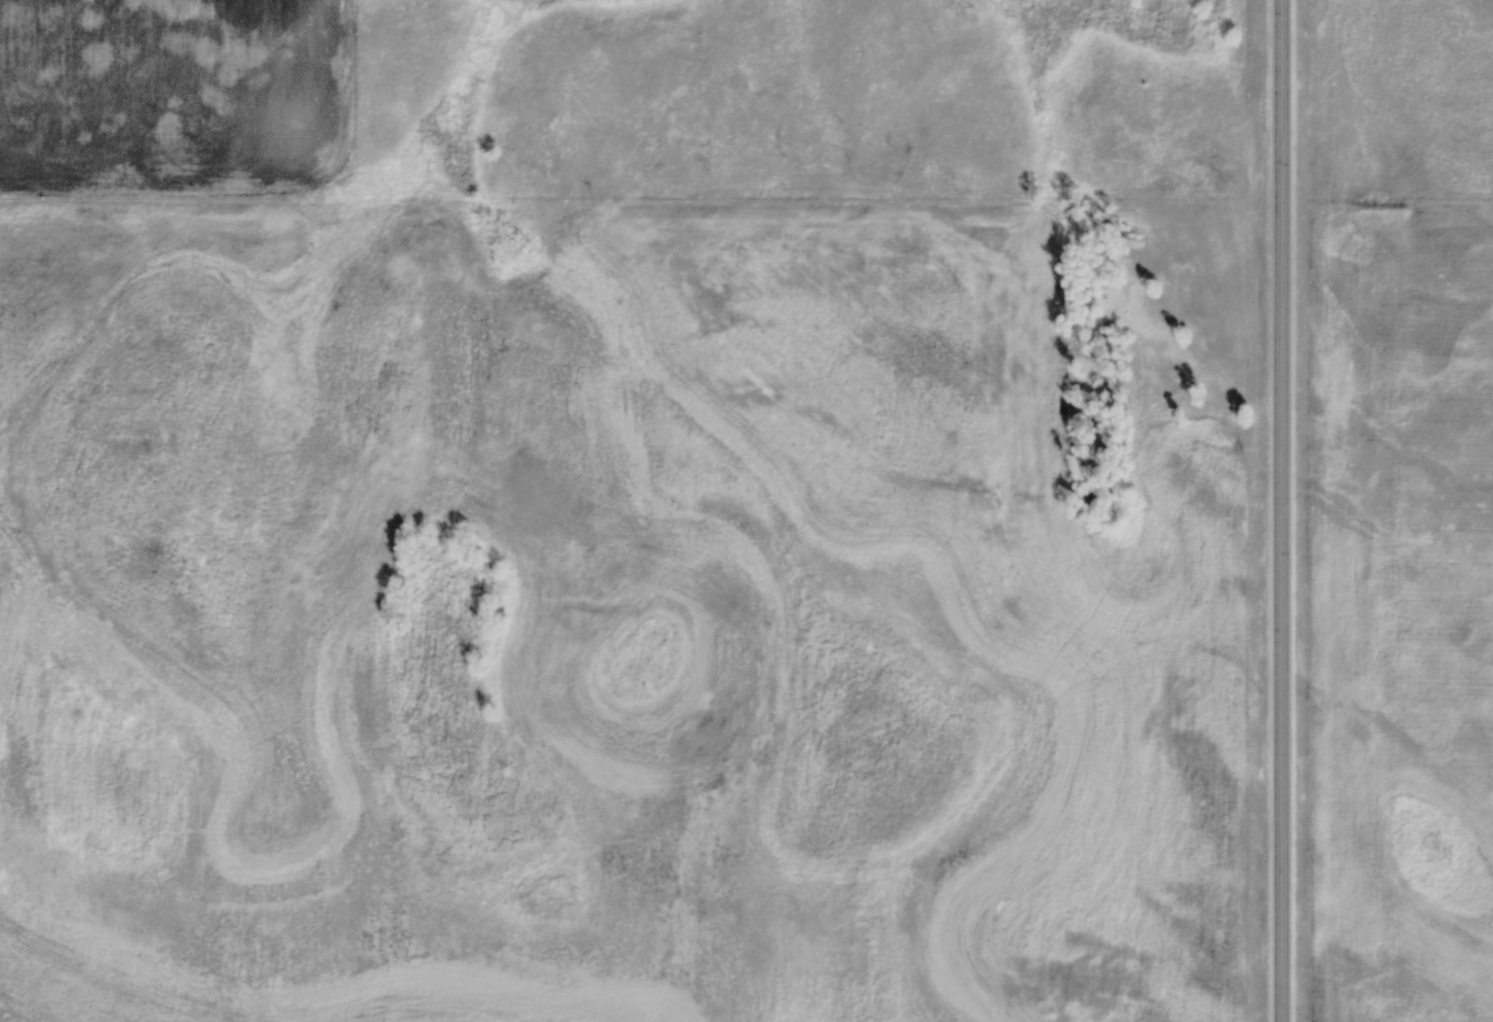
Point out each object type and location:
road: (1284, 511)

